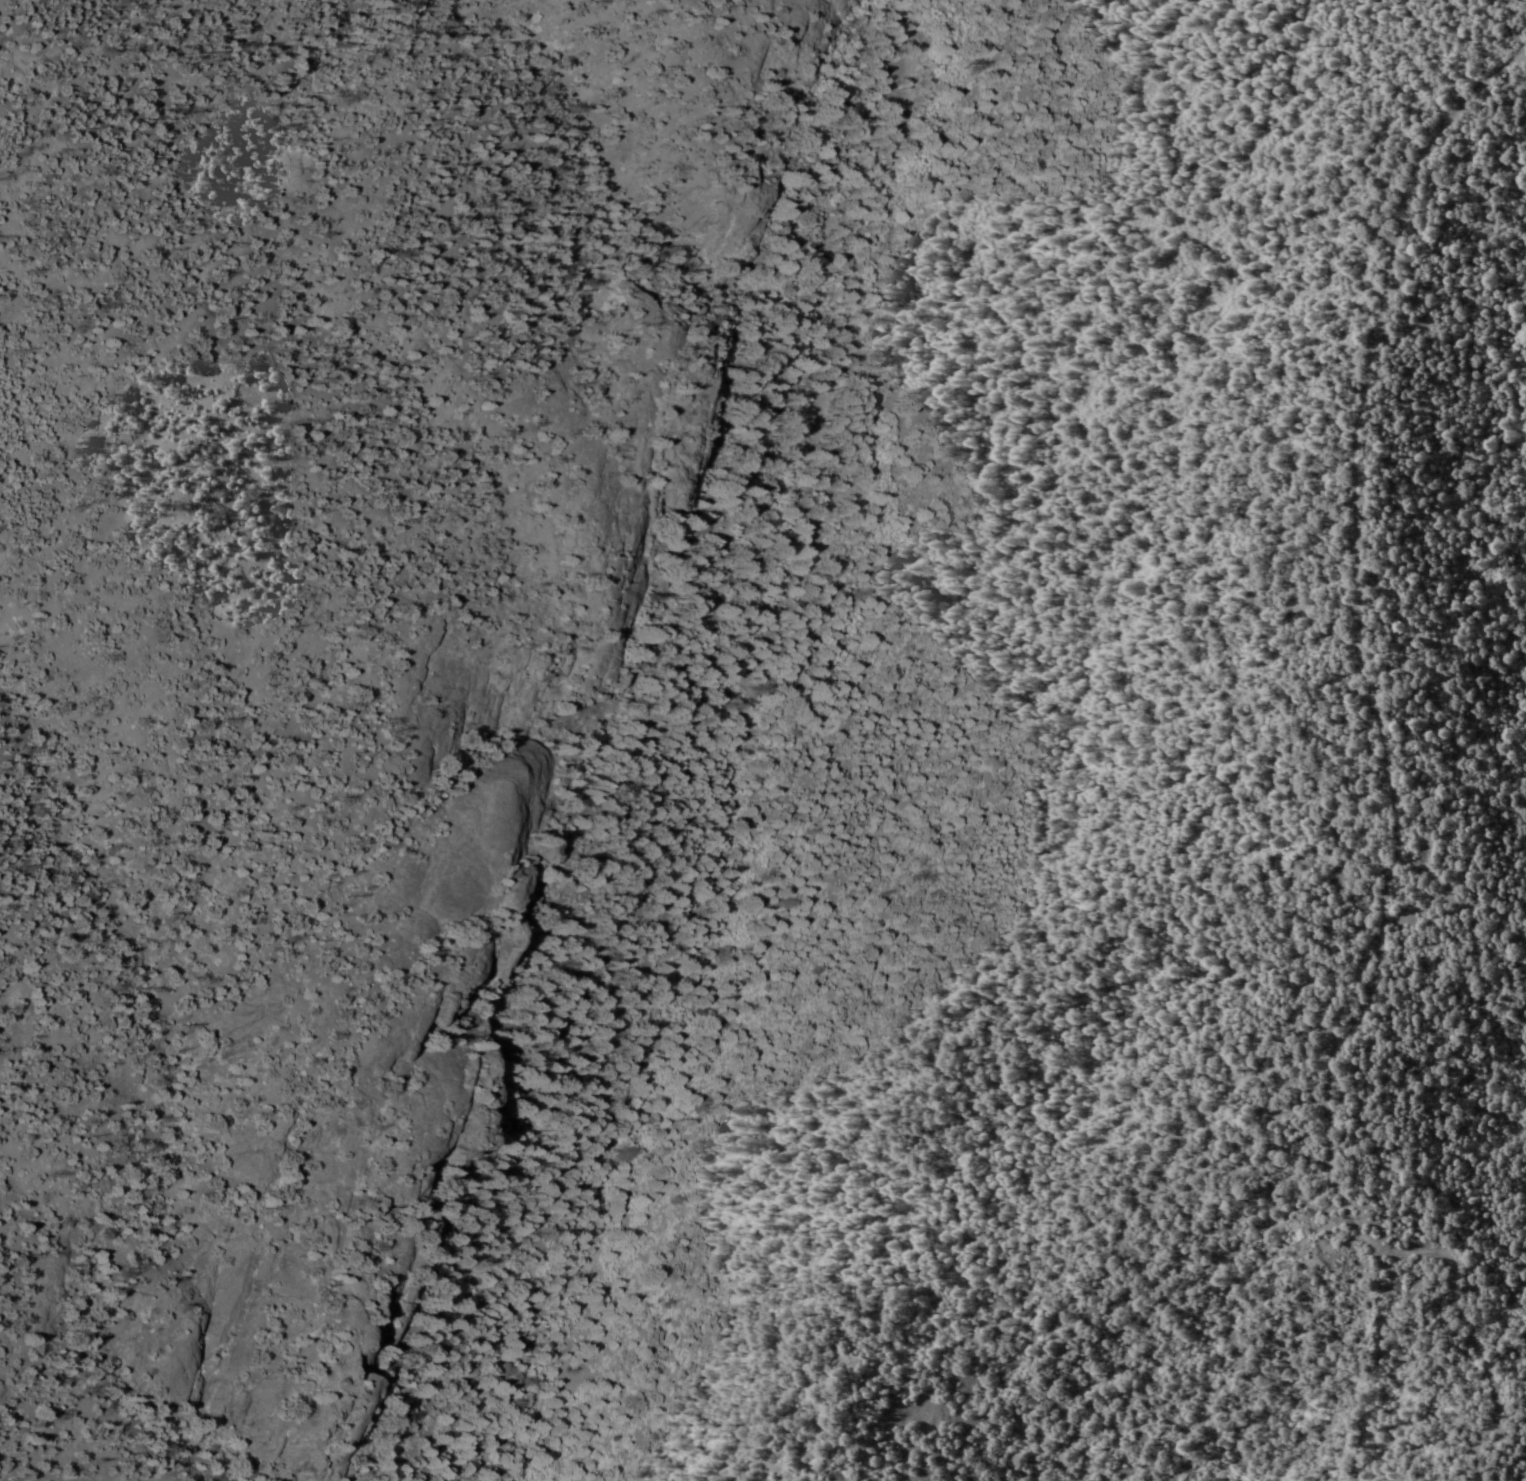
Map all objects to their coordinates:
road: (1382, 786)

